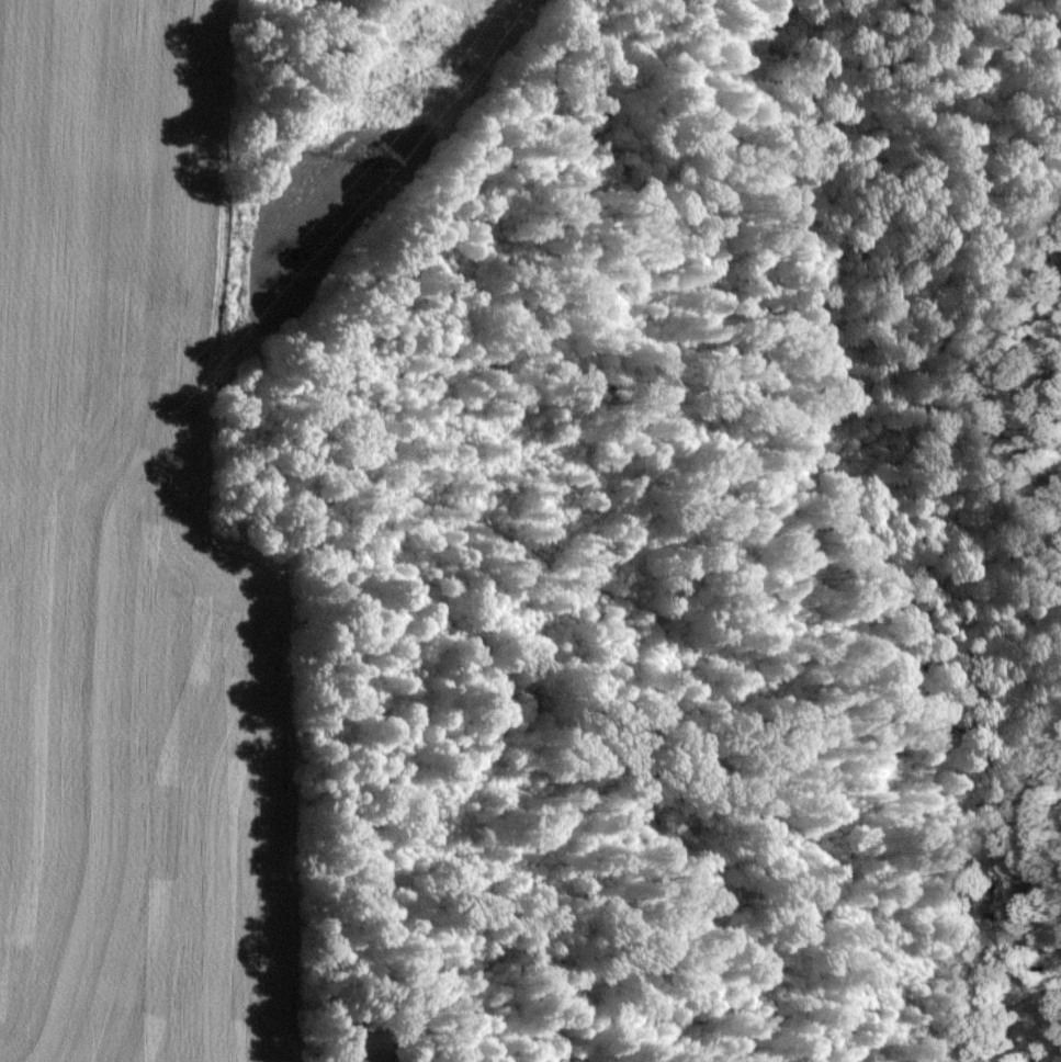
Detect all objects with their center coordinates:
power tower: (353, 150)
building: (372, 1047)

